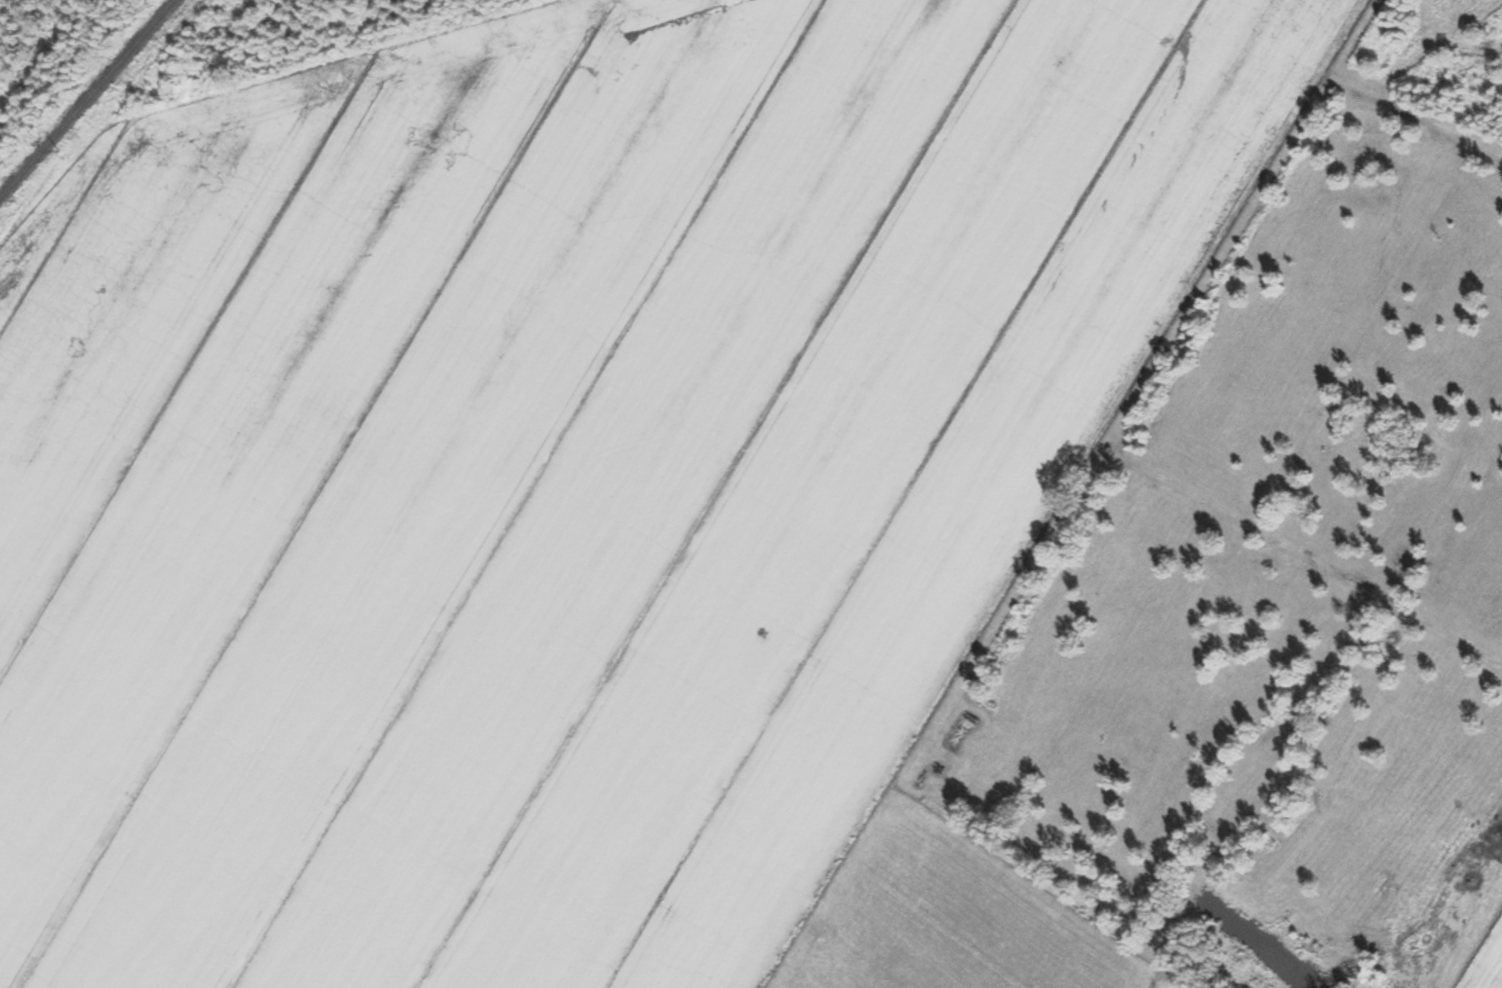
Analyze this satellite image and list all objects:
road: (470, 57)
railway: (88, 100)
power tower: (63, 148)

